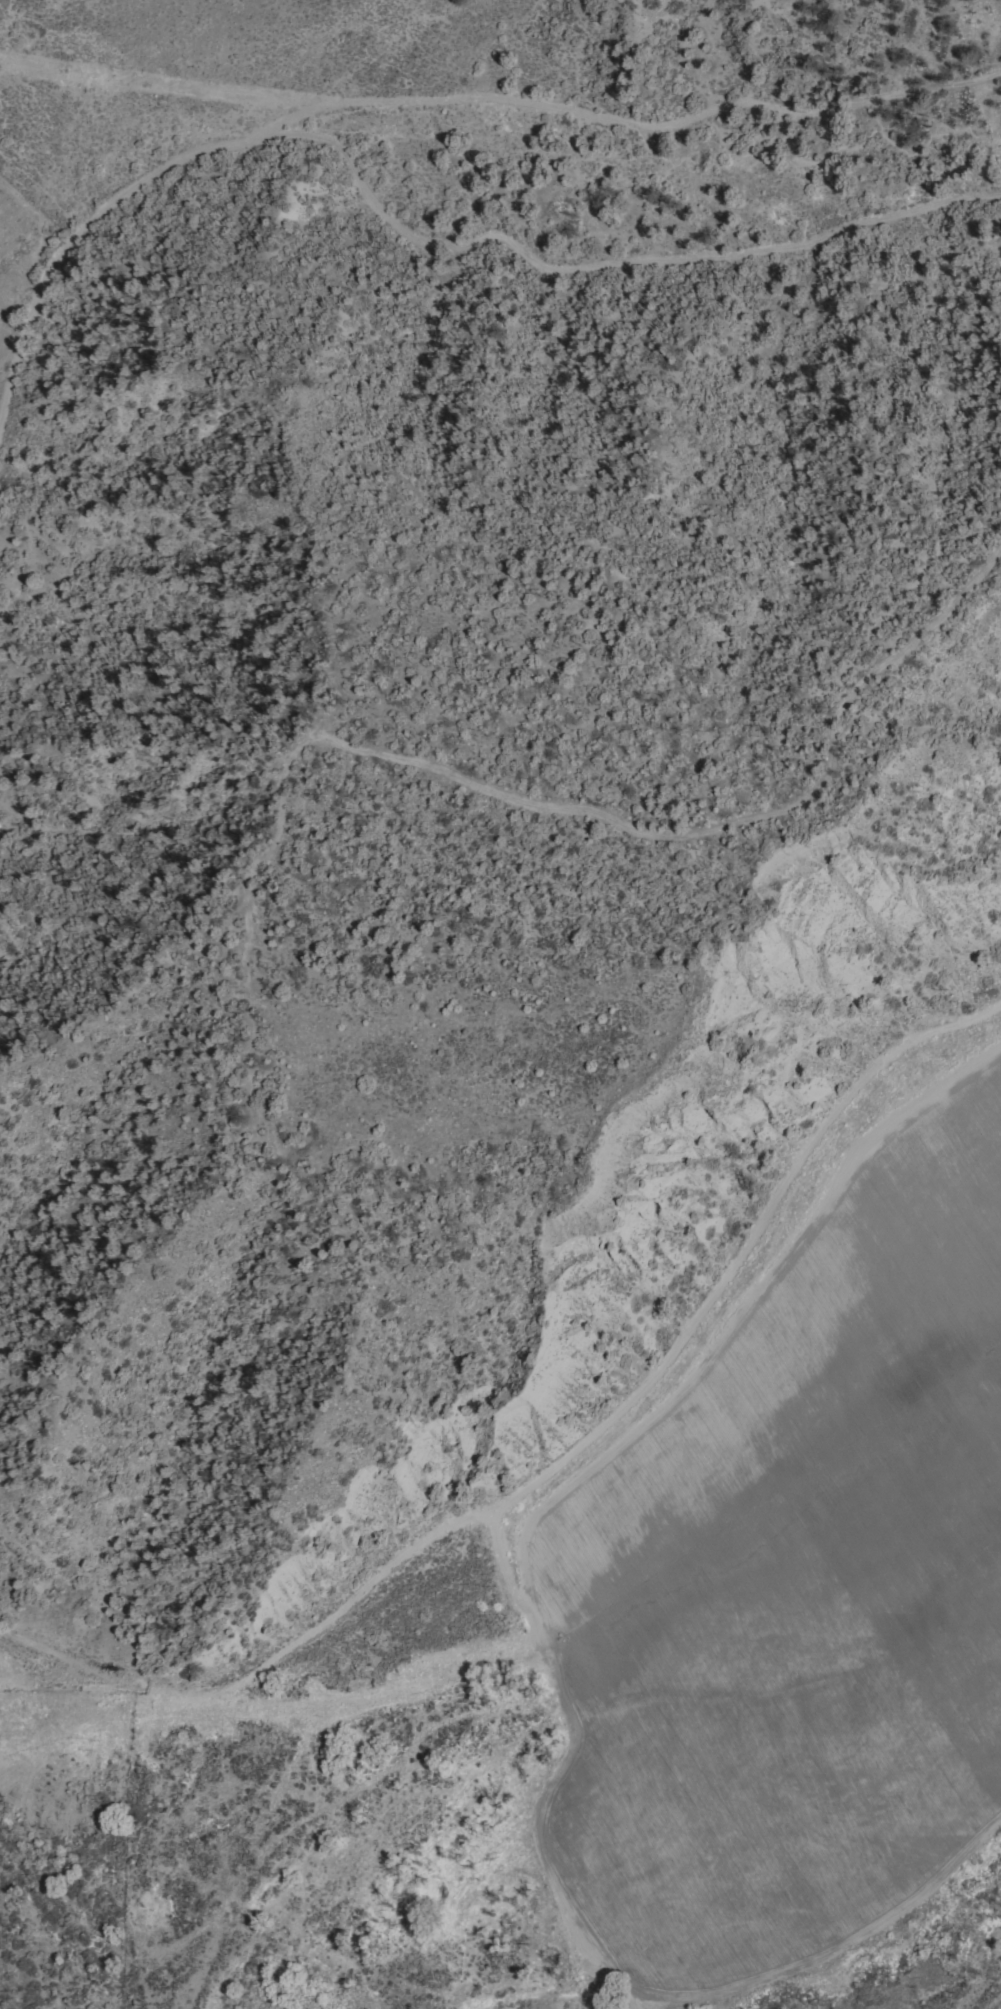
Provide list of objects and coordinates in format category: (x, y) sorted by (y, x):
river: (795, 1932)

